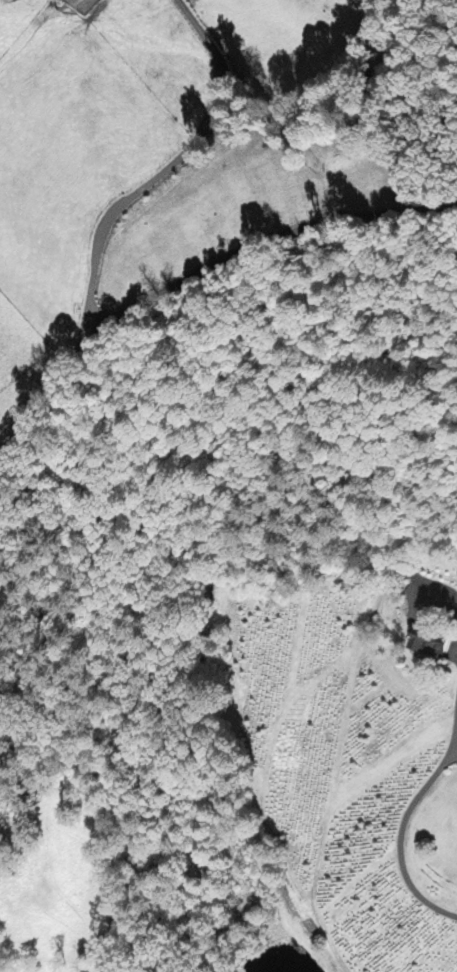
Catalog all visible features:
road: (111, 213)
building: (427, 645)

